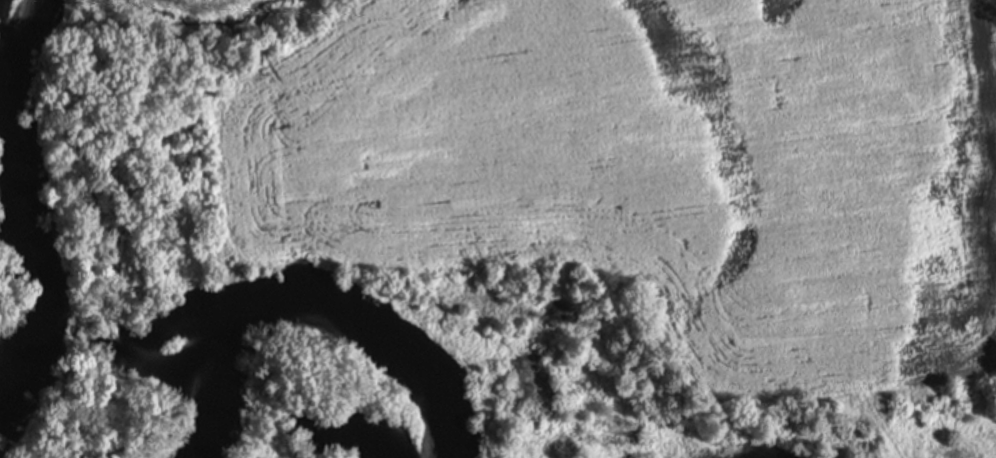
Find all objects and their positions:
river: (23, 190)
river: (302, 322)
road: (885, 429)
river: (1, 455)

